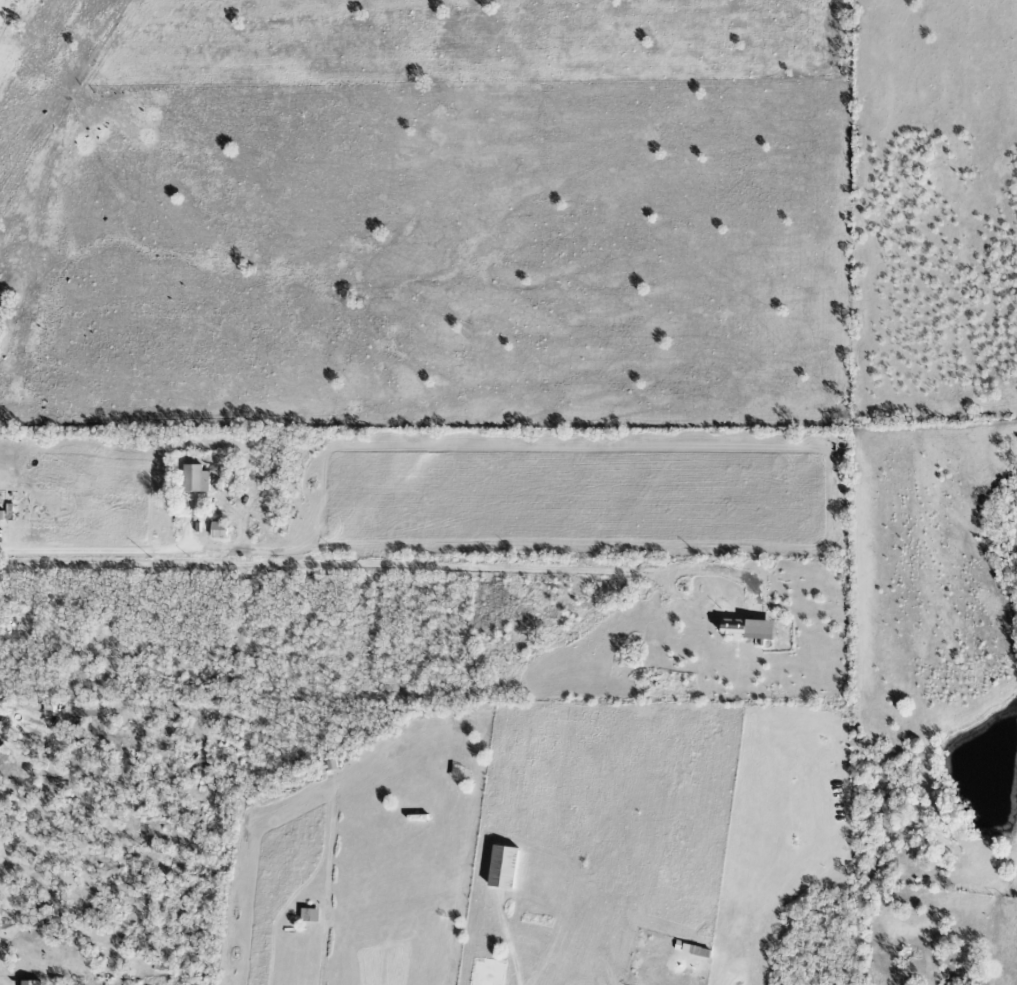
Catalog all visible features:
building: (193, 478)
building: (218, 528)
road: (95, 549)
road: (356, 564)
building: (745, 628)
building: (1, 743)
building: (501, 867)
building: (307, 915)
road: (16, 943)
building: (30, 982)

